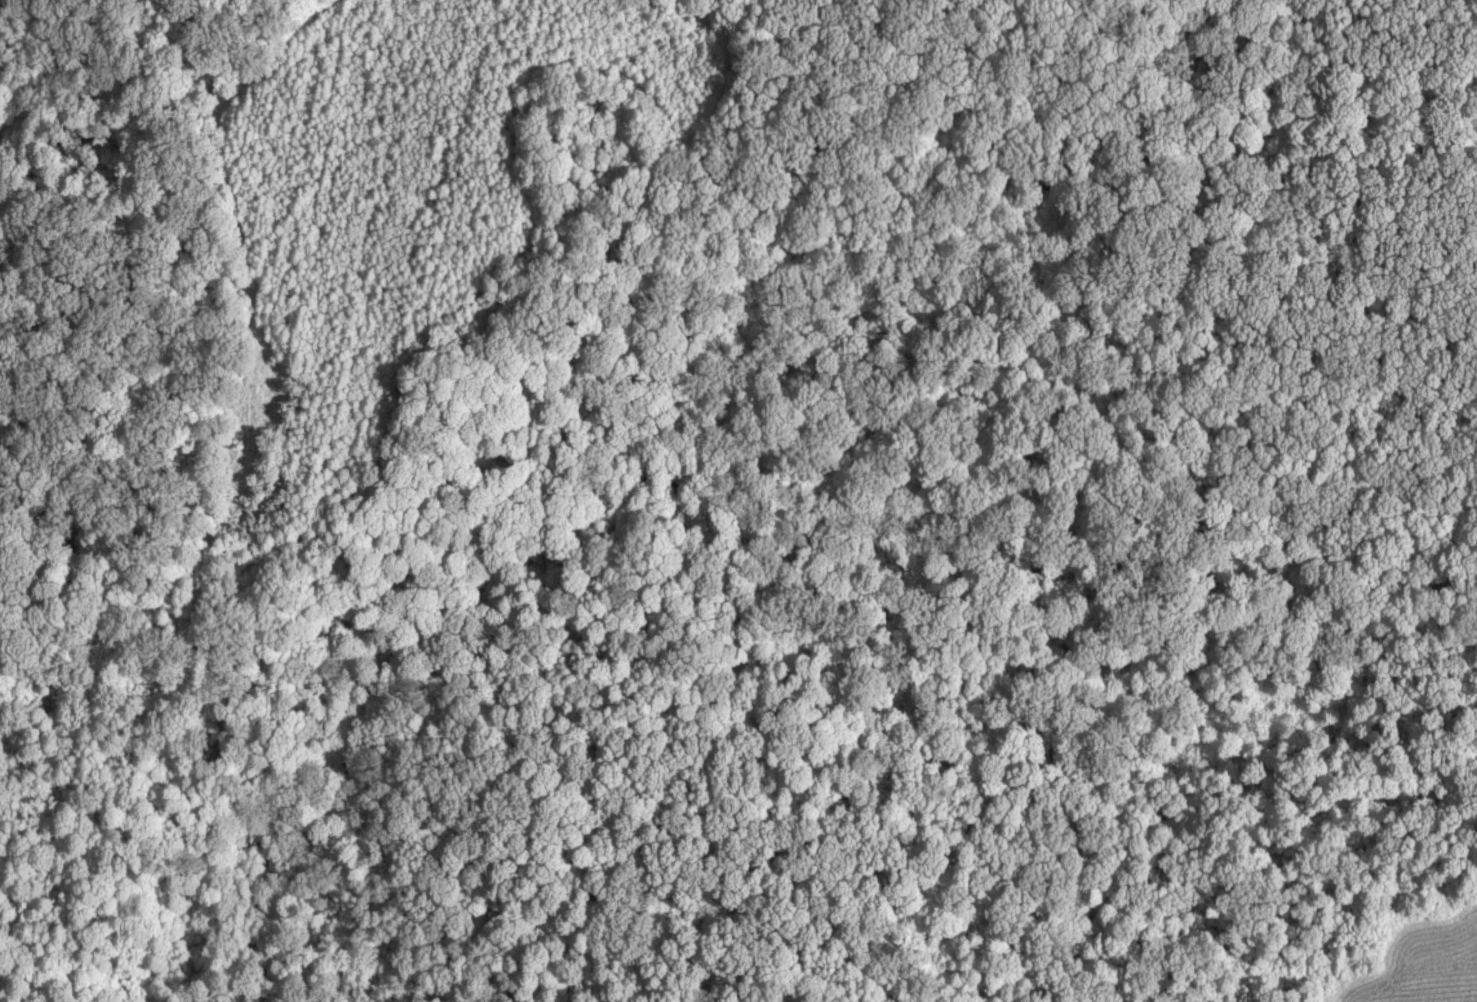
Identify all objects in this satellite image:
building: (1102, 971)

